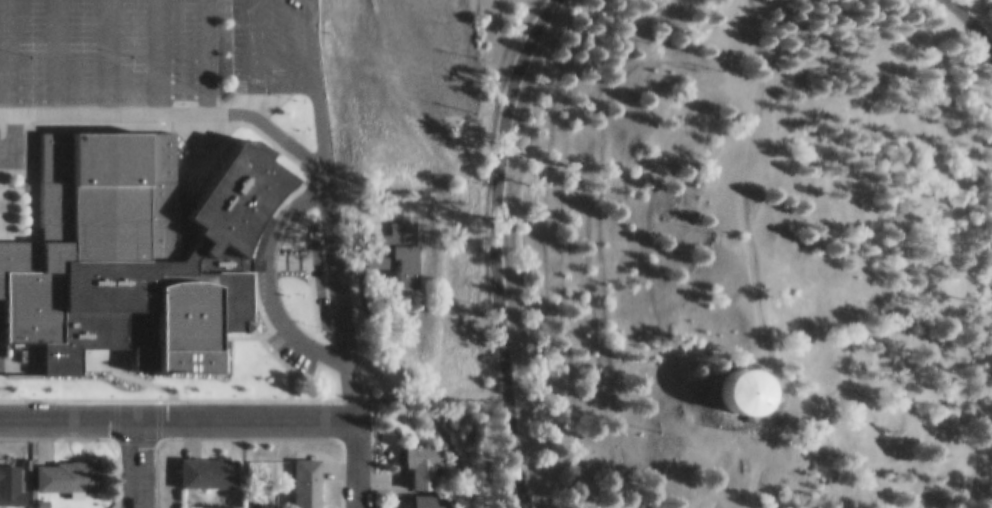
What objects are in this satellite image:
road: (977, 20)
road: (4, 51)
road: (56, 51)
road: (108, 51)
road: (157, 51)
road: (209, 51)
parking lot: (144, 54)
road: (252, 66)
road: (170, 102)
road: (11, 123)
road: (738, 172)
road: (327, 204)
building: (397, 237)
building: (141, 244)
road: (492, 250)
park: (733, 254)
building: (753, 381)
road: (427, 396)
road: (176, 409)
road: (777, 425)
building: (425, 454)
road: (352, 458)
road: (134, 459)
building: (209, 462)
building: (12, 475)
building: (308, 477)
building: (431, 496)
building: (6, 506)
building: (194, 506)
building: (82, 507)

